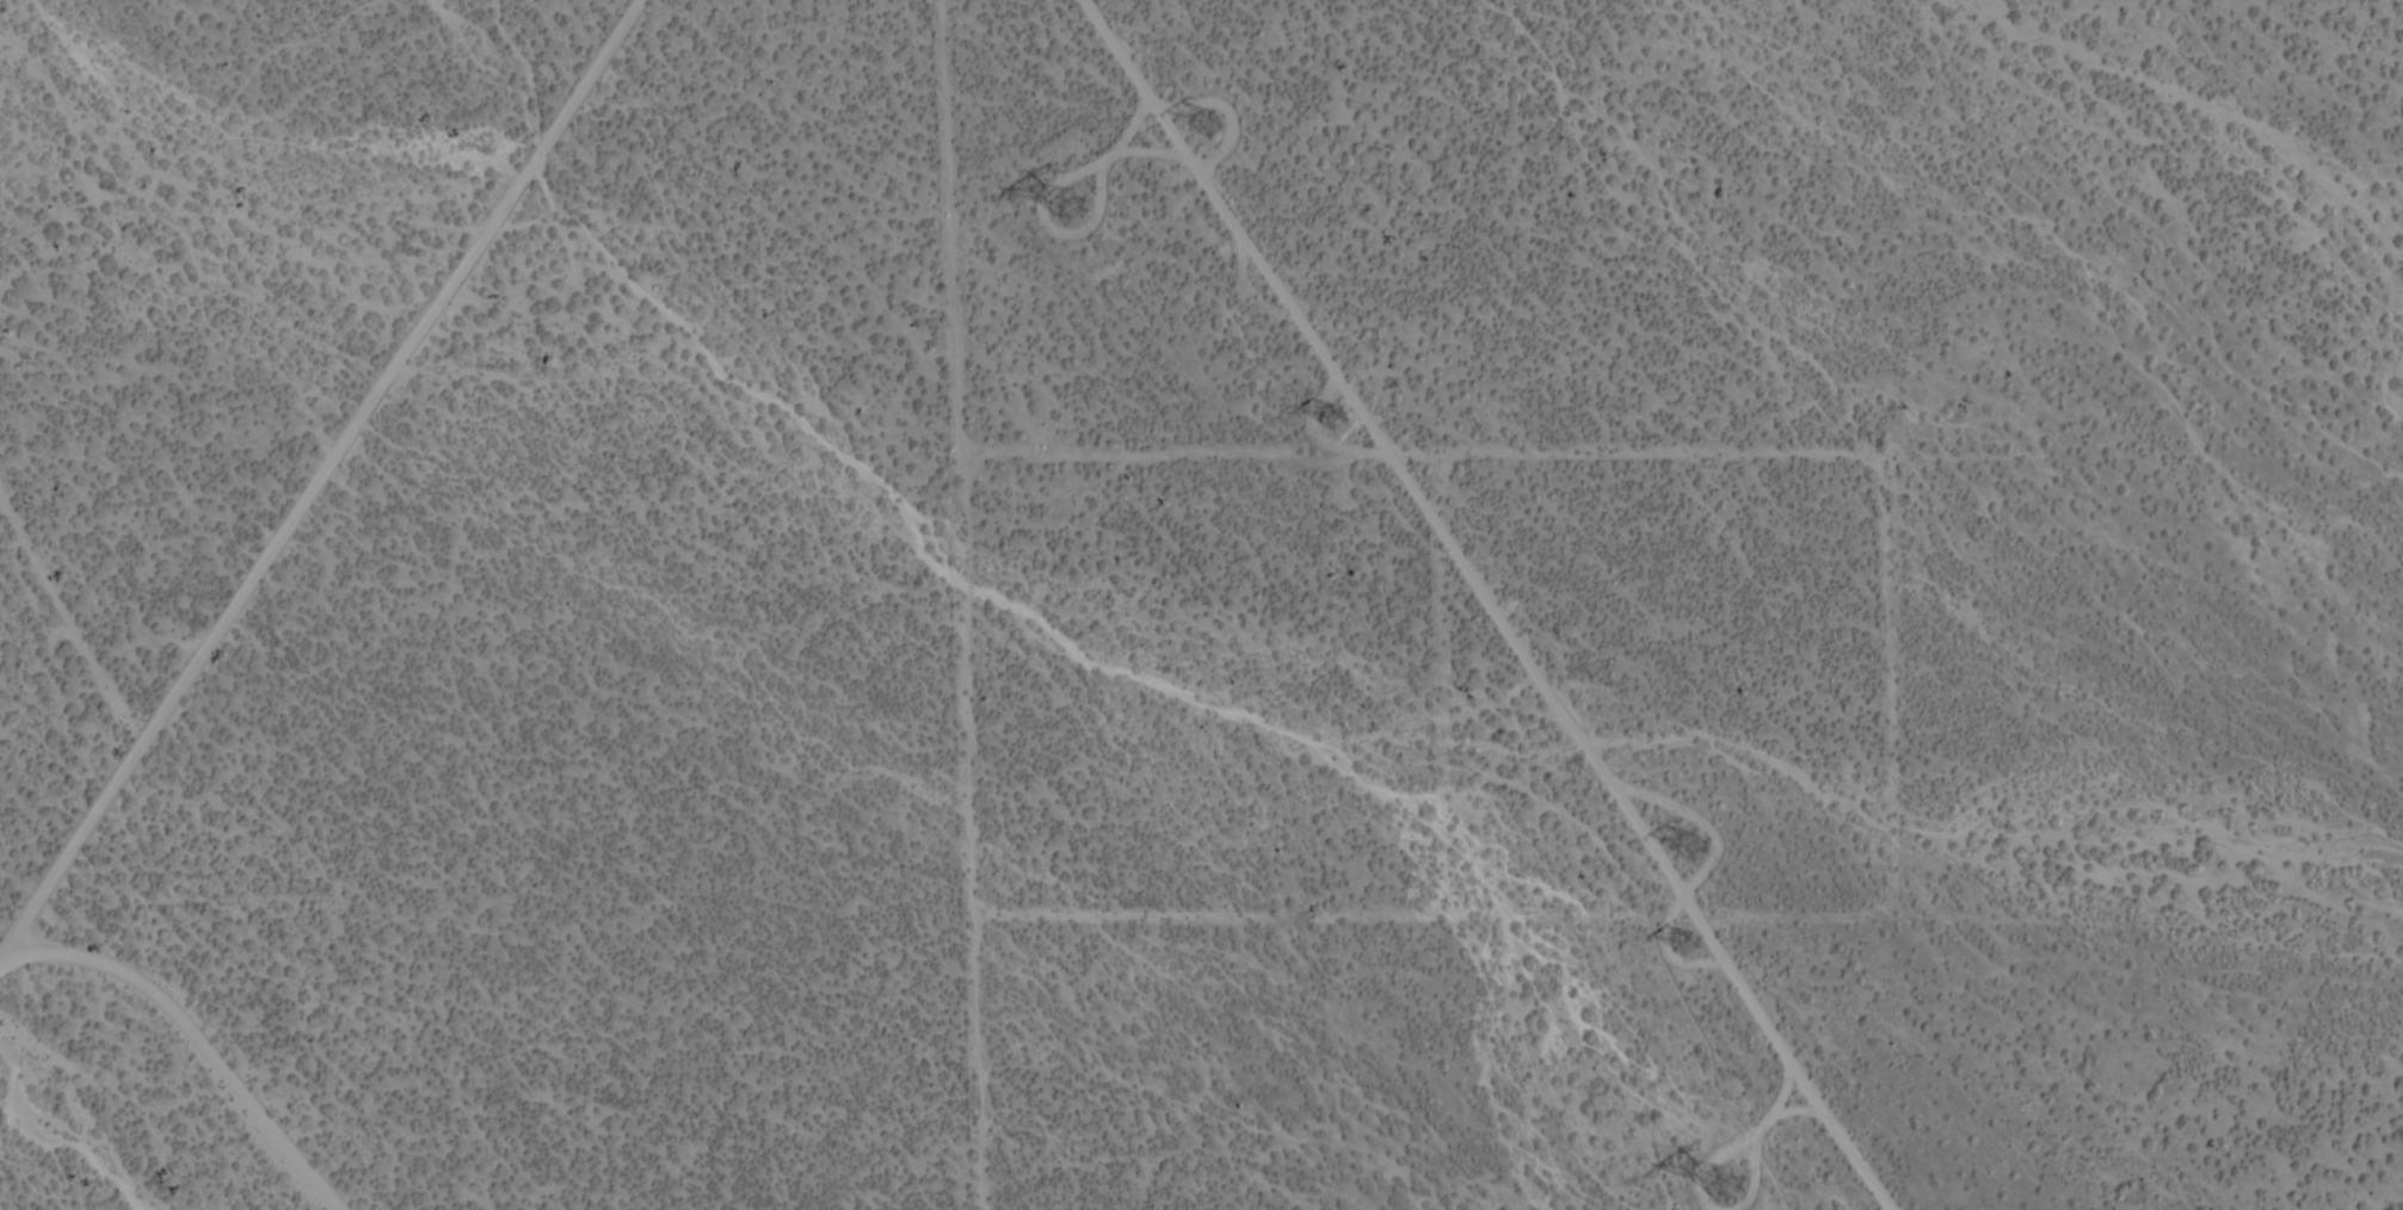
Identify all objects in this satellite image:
power tower: (1222, 128)
power tower: (1077, 206)
power tower: (1344, 424)
road: (1220, 446)
road: (320, 477)
road: (69, 622)
power tower: (1693, 845)
power tower: (1697, 947)
road: (195, 1041)
power tower: (1733, 1189)

